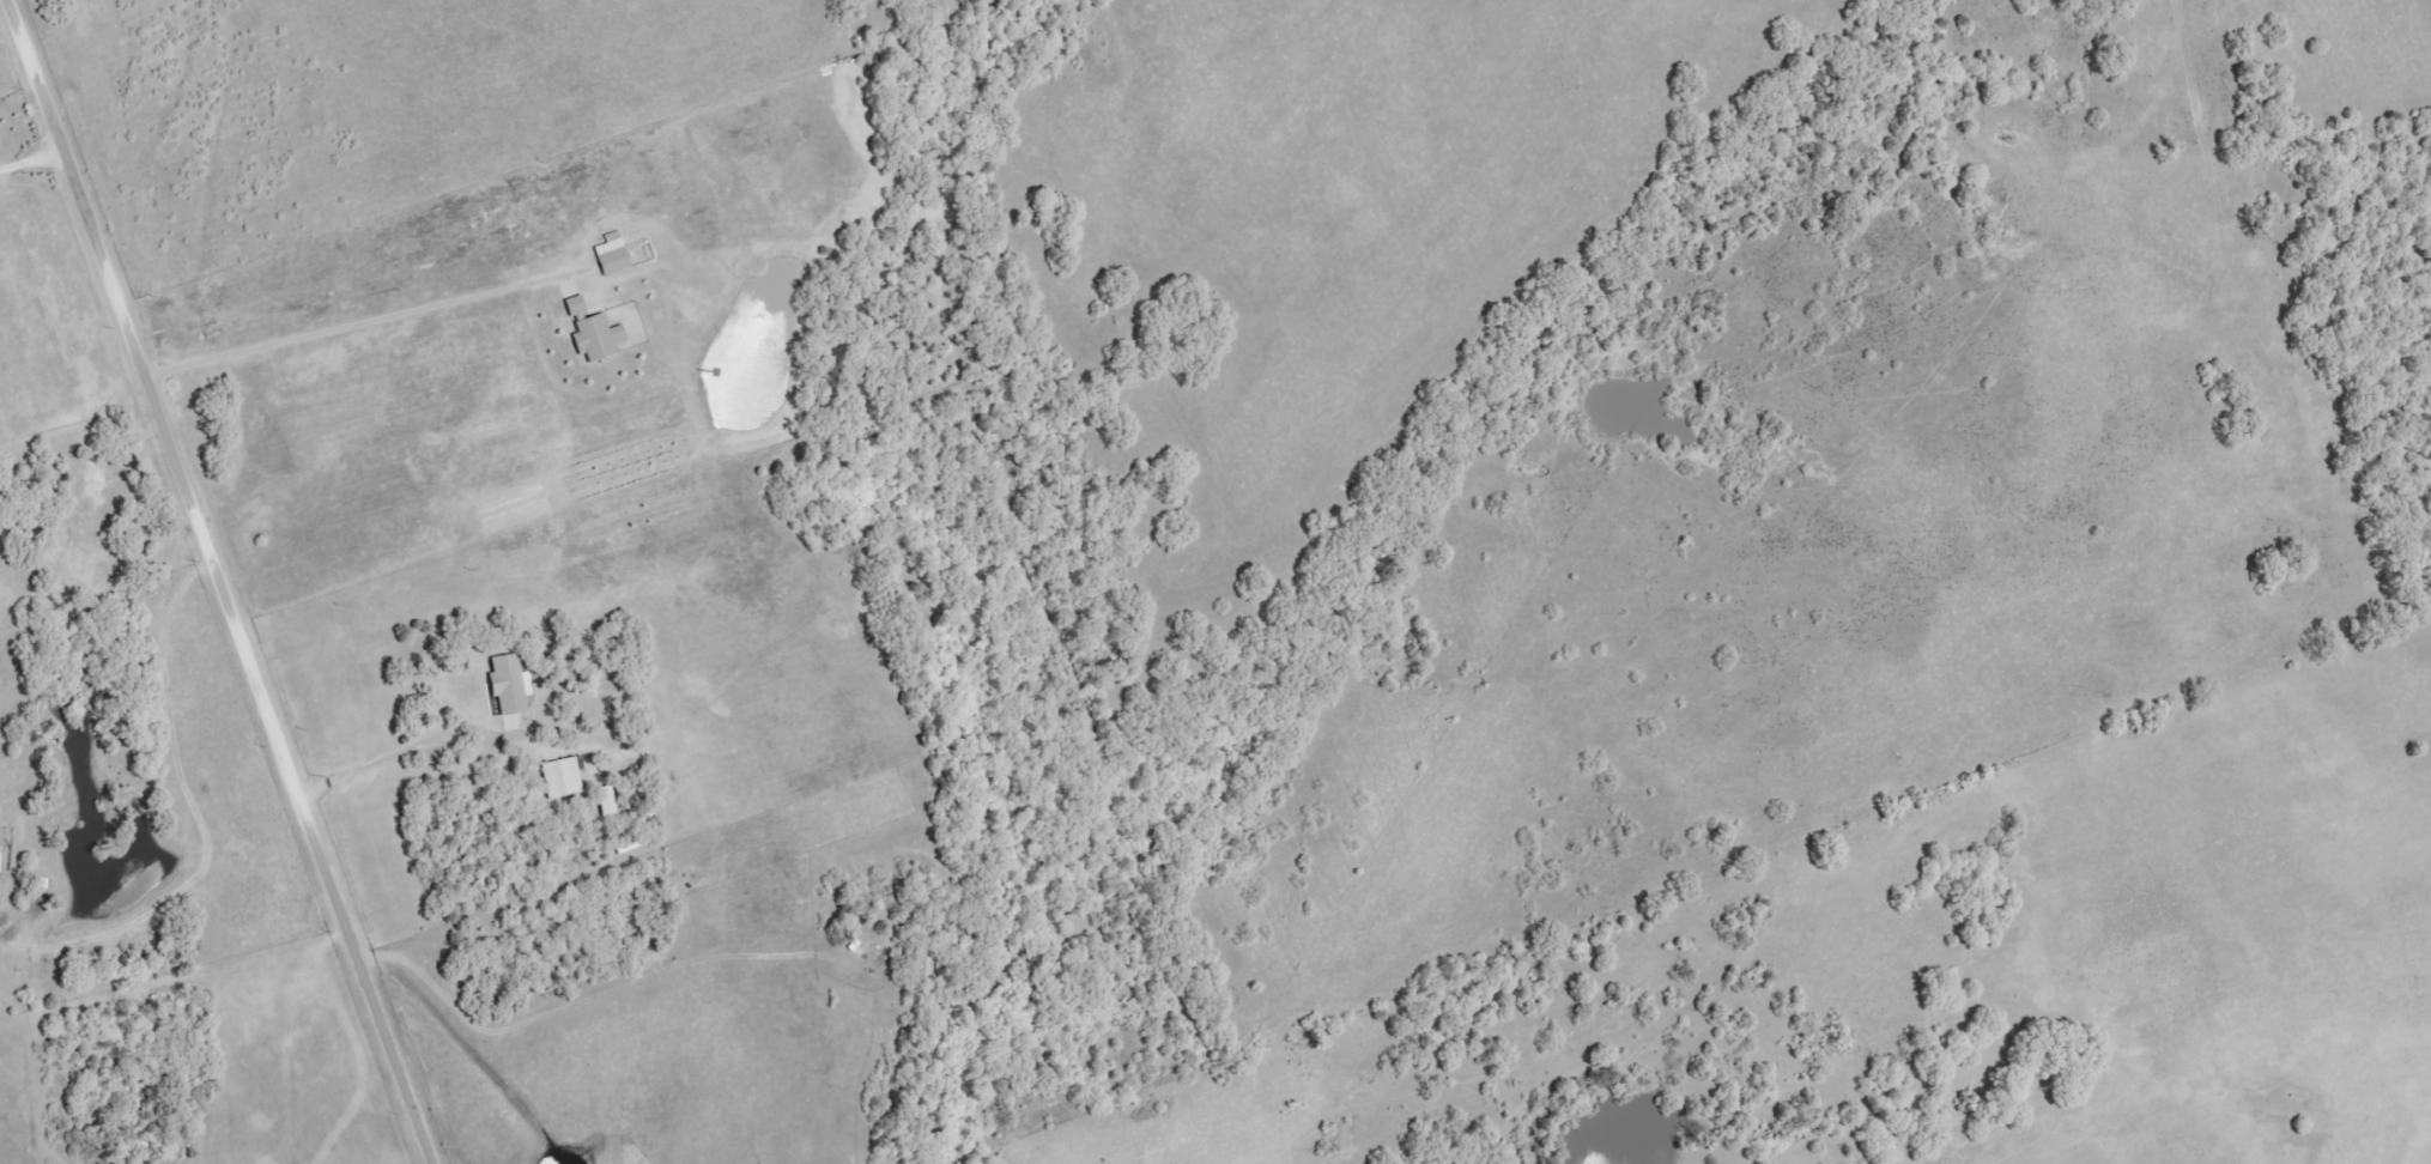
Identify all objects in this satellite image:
road: (30, 158)
building: (614, 254)
building: (578, 305)
road: (344, 326)
building: (599, 338)
road: (218, 582)
building: (511, 684)
road: (414, 745)
building: (564, 777)

